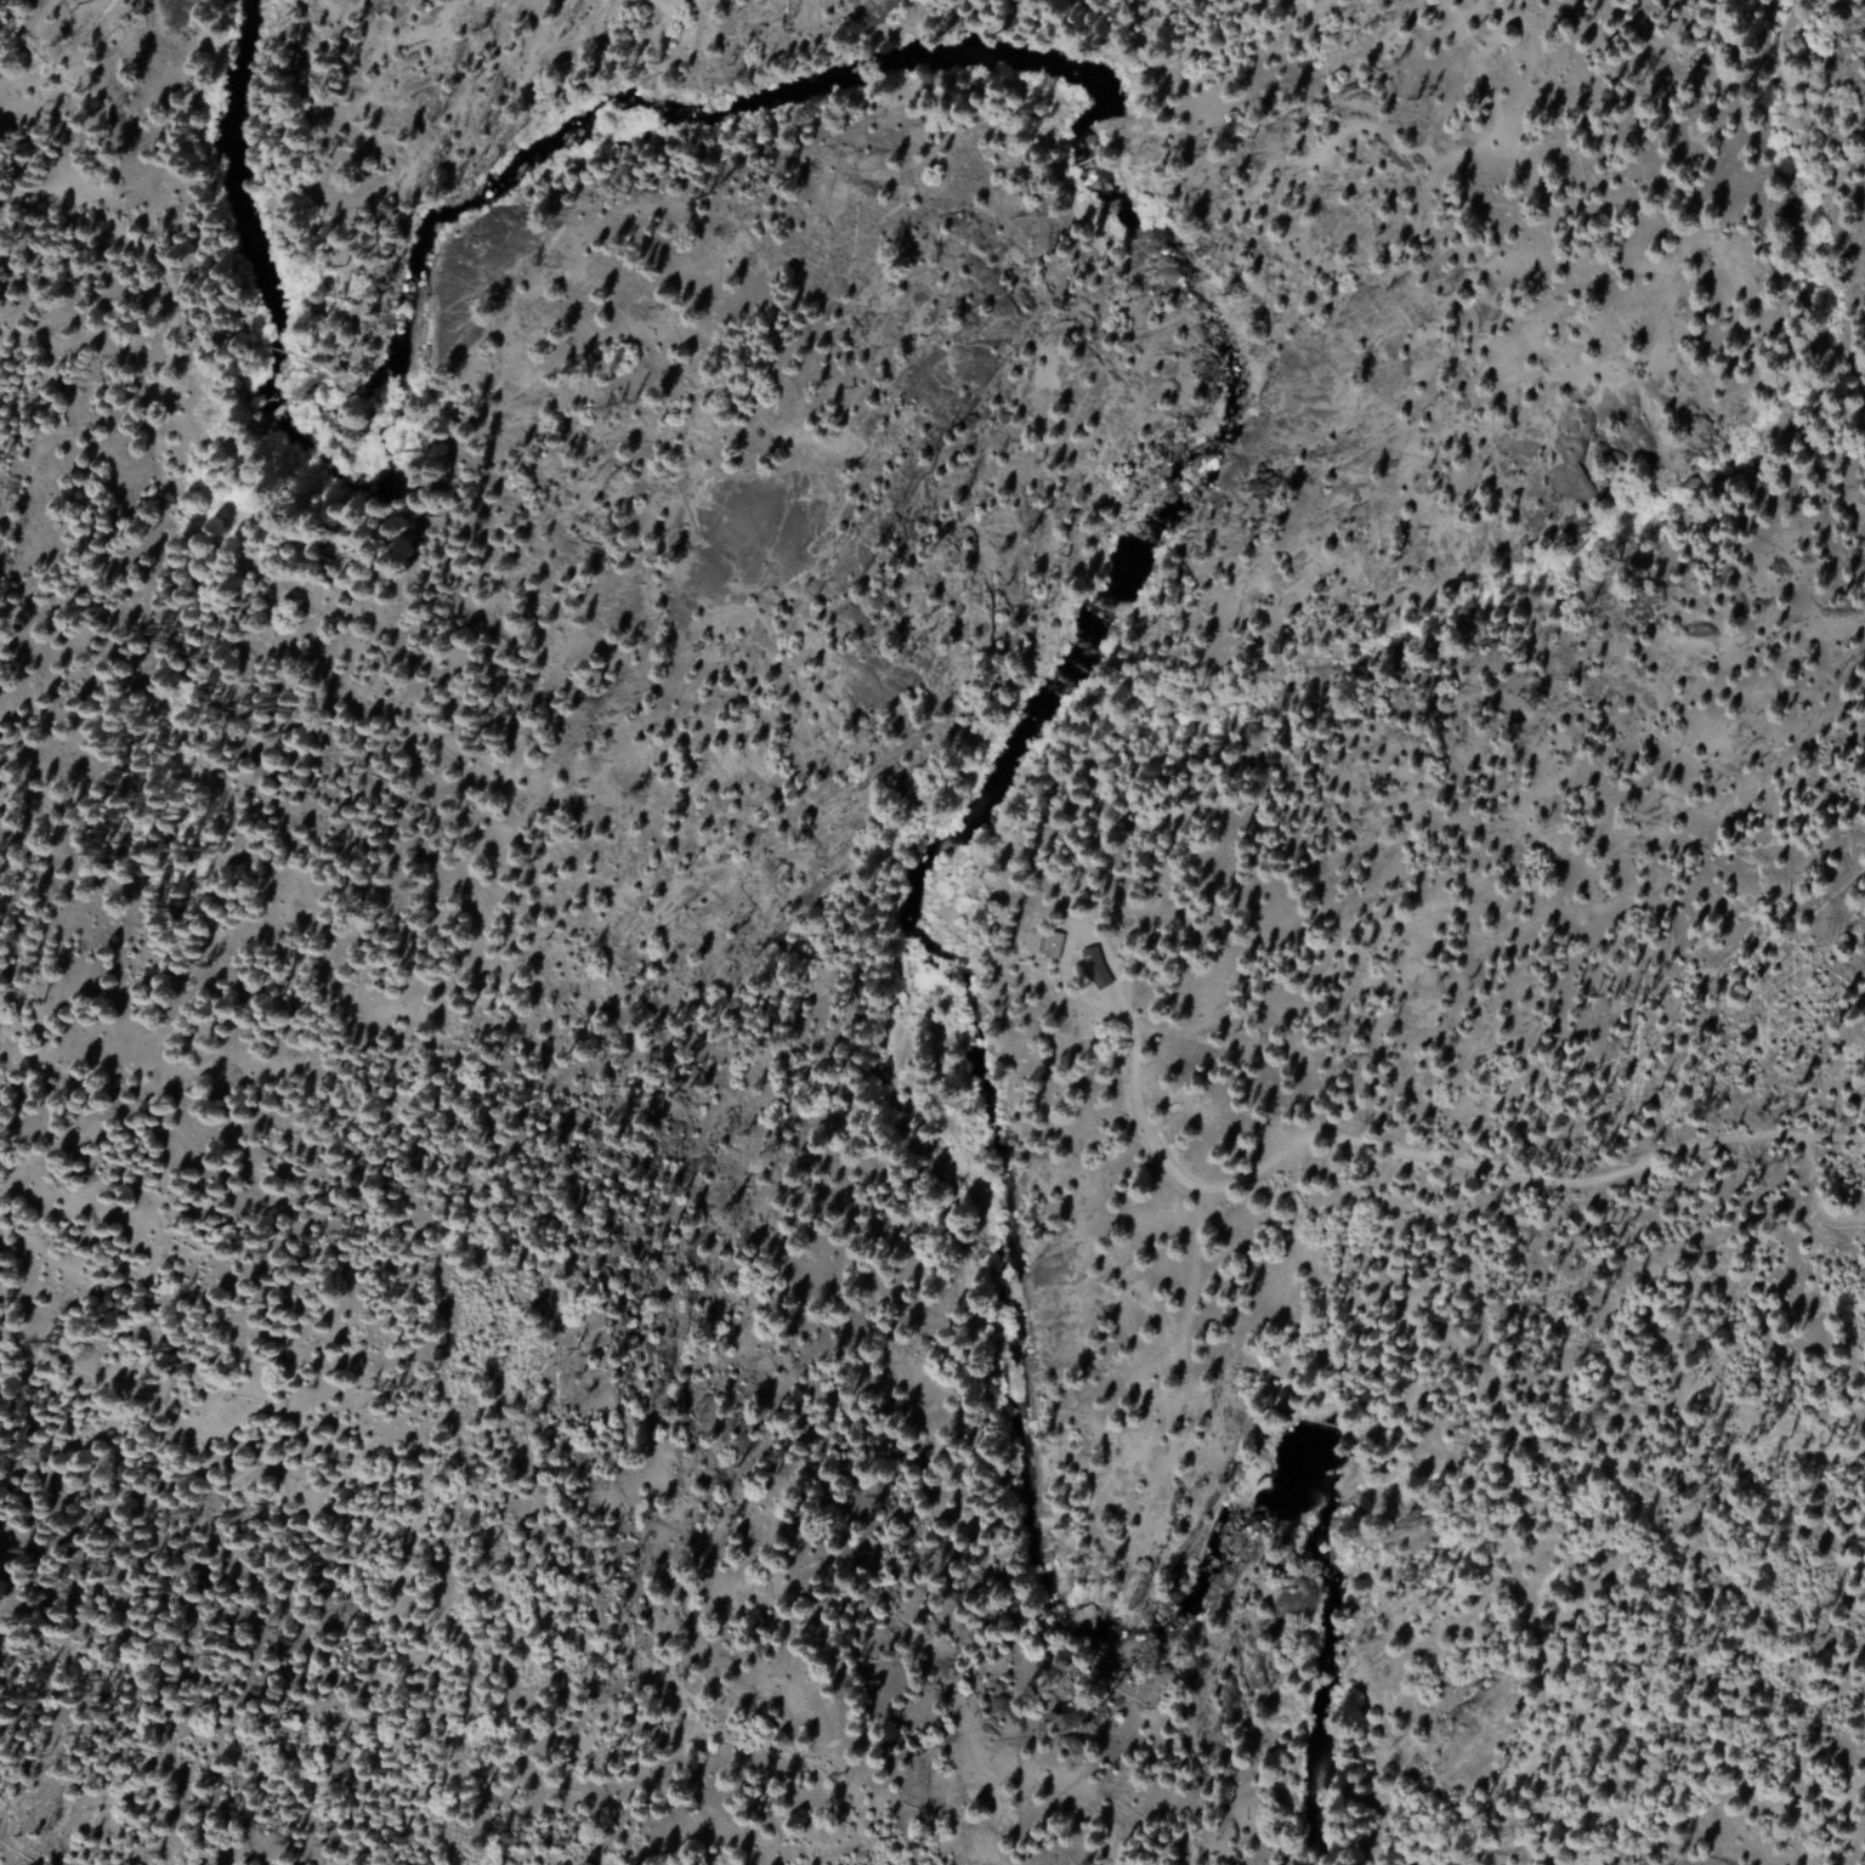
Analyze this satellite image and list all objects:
building: (1055, 942)
building: (1096, 966)

